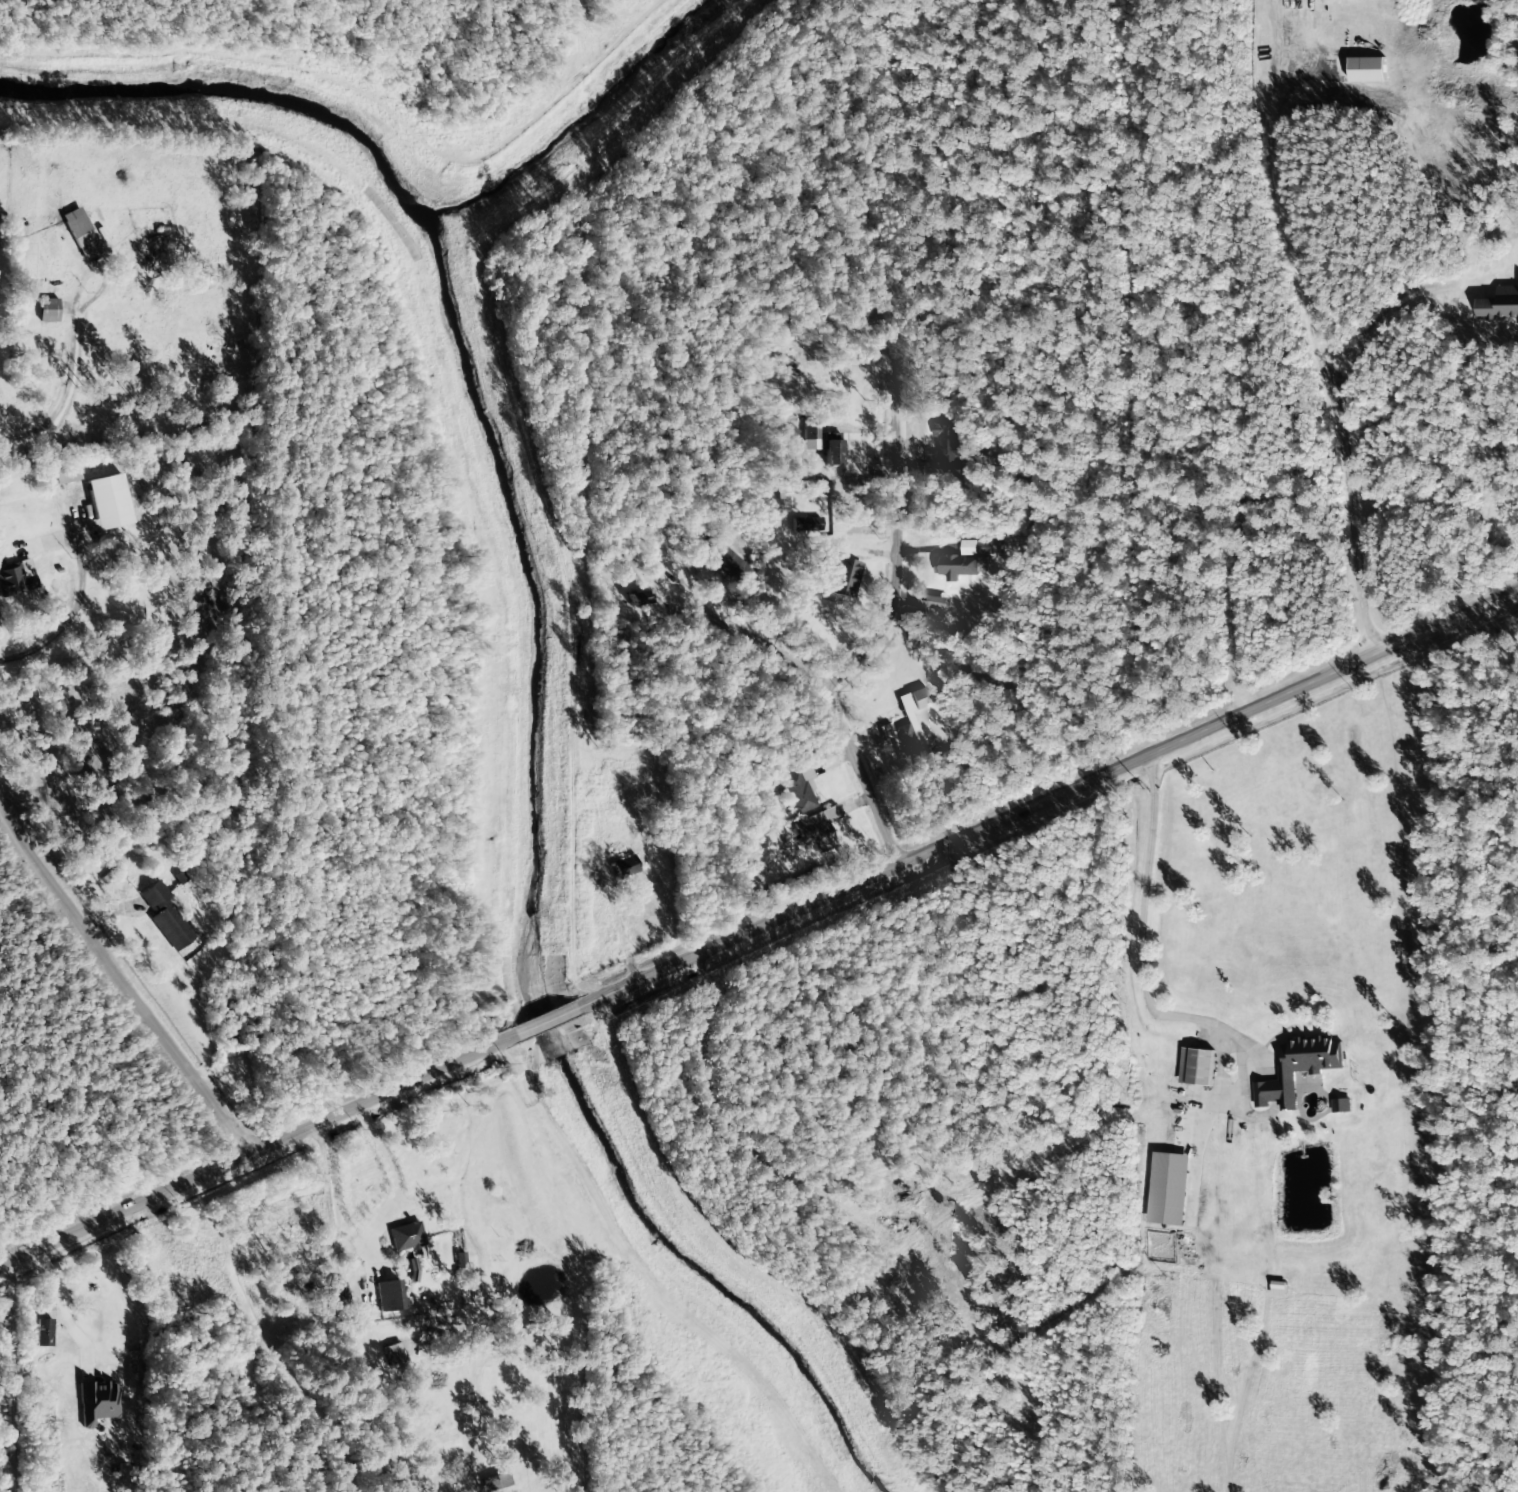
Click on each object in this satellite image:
building: (1366, 70)
building: (80, 234)
building: (1499, 304)
building: (48, 310)
road: (999, 343)
road: (70, 370)
road: (887, 373)
road: (1108, 385)
road: (1326, 385)
building: (832, 452)
building: (66, 473)
building: (109, 502)
building: (806, 524)
building: (964, 560)
building: (730, 565)
building: (16, 576)
building: (840, 577)
building: (637, 598)
building: (936, 602)
road: (76, 604)
road: (820, 686)
building: (905, 721)
building: (800, 789)
road: (1050, 795)
building: (816, 827)
building: (625, 867)
building: (166, 917)
road: (1136, 939)
road: (123, 974)
road: (545, 1021)
building: (1196, 1067)
building: (1298, 1069)
building: (1341, 1106)
road: (253, 1153)
road: (380, 1160)
building: (1168, 1189)
building: (408, 1238)
building: (460, 1260)
building: (413, 1270)
building: (389, 1295)
building: (46, 1304)
building: (43, 1333)
building: (394, 1354)
road: (14, 1378)
building: (97, 1403)
building: (495, 1482)

